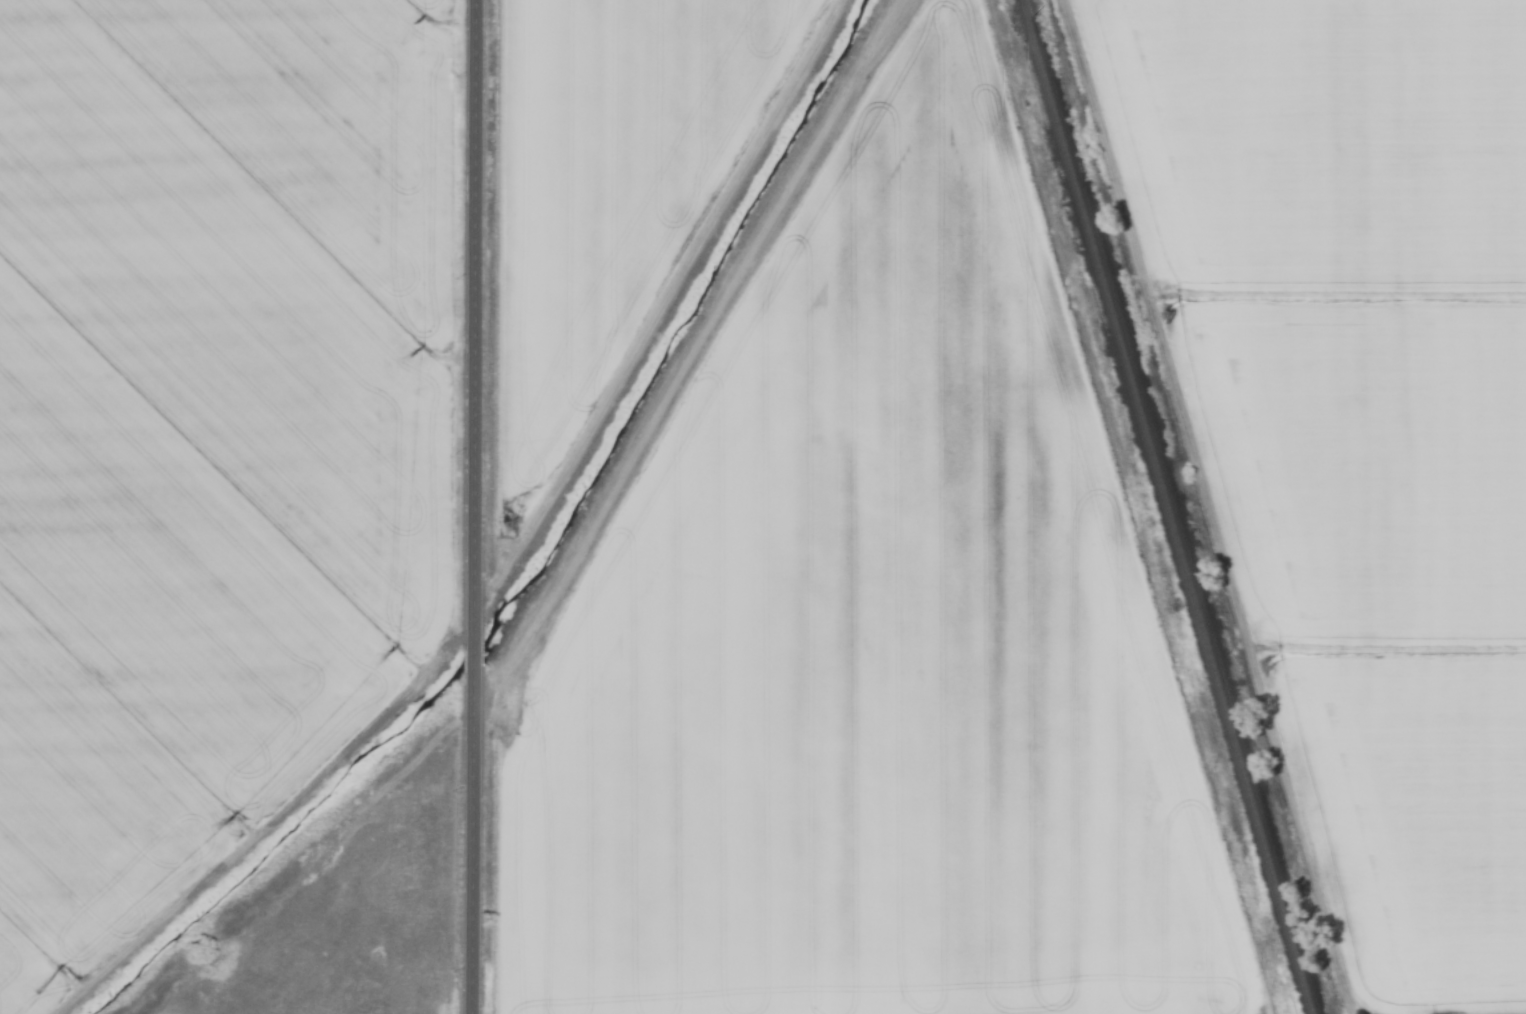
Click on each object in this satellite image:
railway: (1166, 506)
road: (481, 507)

